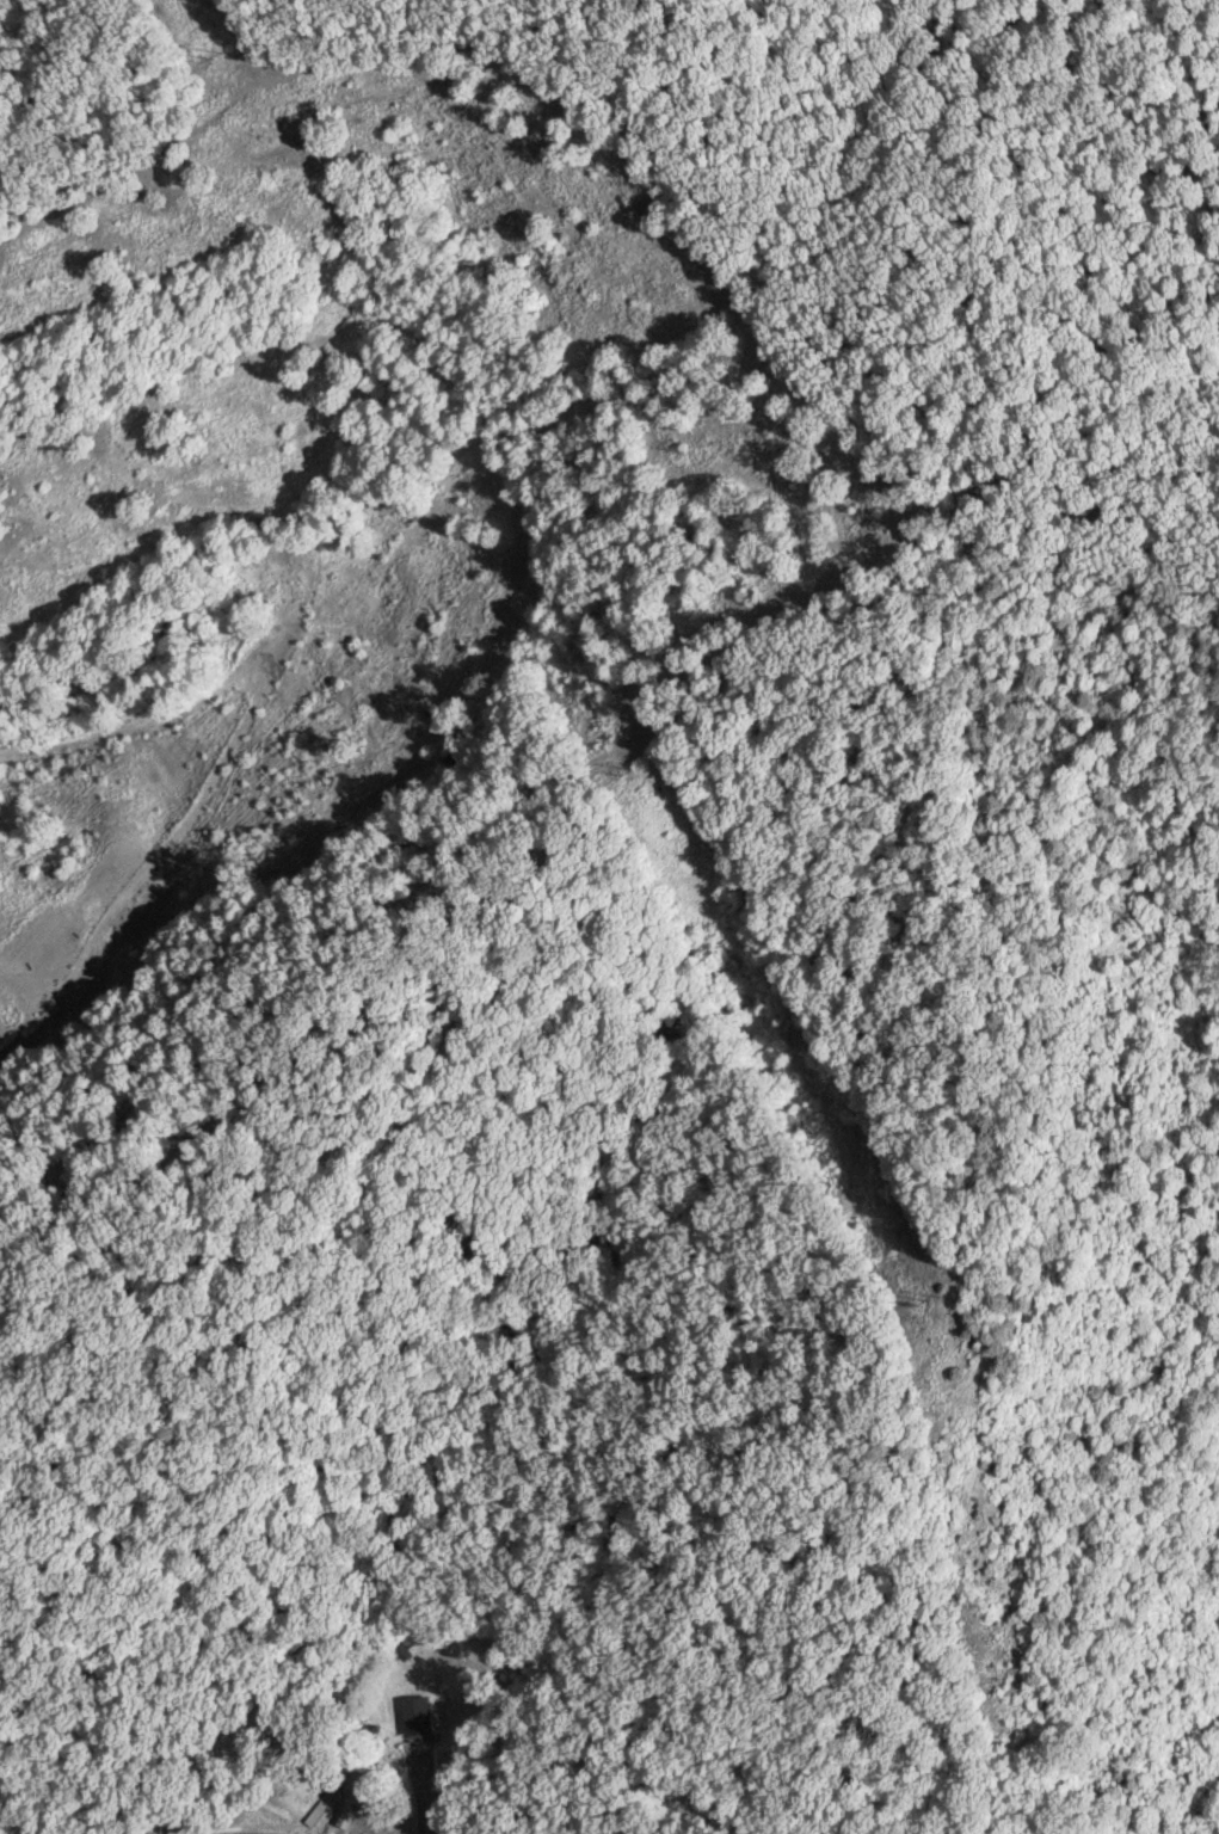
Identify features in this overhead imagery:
road: (49, 1149)
road: (380, 1605)
building: (417, 1715)

